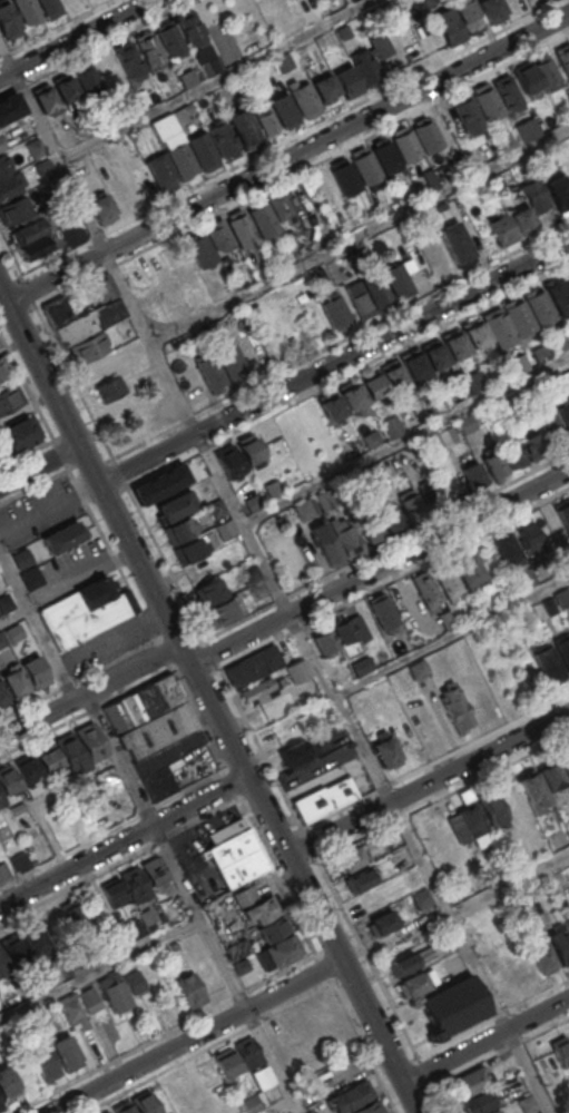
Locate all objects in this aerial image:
building: (351, 0)
building: (278, 2)
building: (49, 7)
building: (27, 10)
building: (491, 10)
building: (468, 16)
building: (8, 21)
building: (448, 26)
road: (56, 28)
building: (189, 28)
road: (75, 38)
building: (168, 38)
road: (91, 47)
building: (148, 48)
building: (563, 57)
building: (127, 58)
building: (206, 61)
building: (284, 62)
building: (366, 68)
building: (548, 72)
building: (527, 77)
building: (86, 78)
road: (212, 79)
building: (347, 81)
building: (238, 85)
building: (324, 86)
building: (65, 88)
building: (507, 92)
building: (45, 98)
building: (304, 99)
building: (487, 100)
building: (9, 107)
building: (567, 107)
building: (284, 108)
building: (468, 112)
building: (264, 118)
building: (242, 126)
building: (425, 134)
building: (222, 138)
building: (506, 140)
building: (405, 144)
building: (1, 146)
building: (36, 148)
building: (202, 149)
building: (385, 155)
building: (542, 156)
road: (287, 158)
building: (182, 159)
building: (4, 165)
building: (365, 165)
building: (161, 169)
building: (344, 175)
building: (11, 186)
building: (558, 191)
building: (534, 195)
building: (278, 205)
building: (440, 206)
building: (101, 208)
building: (13, 209)
building: (263, 219)
building: (521, 219)
building: (27, 229)
building: (242, 229)
building: (500, 229)
road: (360, 233)
building: (219, 237)
building: (454, 243)
building: (33, 247)
building: (202, 250)
building: (395, 278)
building: (102, 287)
building: (222, 287)
building: (376, 289)
building: (558, 296)
building: (360, 302)
building: (539, 307)
building: (334, 311)
building: (57, 312)
building: (259, 313)
building: (520, 317)
building: (88, 322)
building: (499, 327)
building: (474, 333)
building: (558, 341)
building: (455, 344)
building: (88, 348)
building: (435, 353)
building: (540, 353)
building: (521, 361)
building: (232, 362)
road: (334, 363)
building: (414, 364)
building: (3, 368)
building: (499, 371)
building: (212, 372)
building: (394, 375)
building: (556, 380)
building: (475, 381)
building: (192, 384)
building: (374, 386)
building: (110, 388)
building: (9, 398)
building: (354, 401)
building: (334, 411)
building: (565, 412)
building: (167, 413)
building: (465, 423)
building: (392, 425)
building: (551, 427)
building: (21, 434)
building: (447, 434)
building: (371, 439)
road: (405, 439)
building: (533, 446)
building: (252, 451)
building: (512, 454)
building: (229, 462)
road: (39, 465)
building: (492, 465)
building: (472, 474)
building: (159, 484)
building: (452, 484)
building: (272, 487)
building: (433, 494)
building: (252, 502)
building: (411, 504)
building: (175, 505)
building: (216, 508)
building: (563, 513)
building: (391, 516)
building: (371, 528)
building: (226, 529)
building: (179, 530)
building: (61, 536)
building: (527, 538)
building: (349, 542)
building: (328, 548)
building: (506, 548)
building: (190, 549)
building: (21, 558)
building: (467, 568)
building: (251, 574)
road: (382, 575)
building: (31, 577)
building: (445, 579)
road: (79, 580)
road: (273, 581)
building: (428, 589)
building: (209, 592)
building: (562, 598)
building: (6, 601)
building: (549, 605)
building: (383, 610)
building: (223, 611)
road: (12, 612)
building: (86, 612)
building: (447, 619)
road: (36, 627)
building: (501, 629)
building: (344, 630)
road: (450, 633)
building: (1, 640)
building: (324, 640)
building: (563, 649)
building: (549, 663)
building: (253, 667)
building: (300, 669)
building: (419, 669)
building: (36, 672)
building: (340, 672)
road: (151, 677)
building: (16, 682)
road: (89, 688)
building: (257, 690)
building: (2, 696)
road: (208, 701)
building: (357, 701)
building: (141, 703)
building: (457, 707)
building: (337, 736)
building: (90, 741)
building: (159, 746)
building: (383, 748)
building: (294, 751)
building: (69, 752)
building: (48, 760)
building: (565, 766)
building: (29, 769)
building: (108, 777)
building: (551, 777)
building: (8, 780)
road: (428, 782)
building: (533, 792)
building: (43, 796)
building: (91, 797)
building: (325, 799)
building: (1, 800)
building: (490, 808)
building: (16, 809)
building: (471, 820)
building: (568, 829)
road: (122, 840)
building: (236, 858)
building: (349, 858)
building: (19, 861)
road: (118, 861)
building: (3, 870)
building: (154, 870)
building: (359, 881)
building: (134, 884)
road: (509, 884)
building: (114, 894)
building: (245, 896)
building: (420, 898)
road: (190, 902)
building: (371, 902)
building: (261, 910)
building: (72, 914)
building: (382, 923)
building: (568, 927)
building: (133, 928)
building: (272, 929)
building: (35, 939)
building: (442, 939)
building: (560, 945)
building: (173, 946)
building: (16, 951)
building: (281, 951)
building: (90, 954)
building: (542, 959)
building: (73, 963)
building: (3, 965)
building: (402, 965)
building: (241, 966)
road: (99, 969)
building: (134, 981)
building: (412, 984)
building: (29, 987)
building: (189, 991)
building: (112, 992)
road: (242, 992)
building: (89, 999)
building: (450, 1006)
building: (73, 1011)
road: (195, 1035)
road: (485, 1040)
building: (560, 1050)
building: (66, 1052)
building: (247, 1052)
building: (43, 1062)
building: (226, 1062)
building: (7, 1083)
building: (468, 1083)
building: (350, 1096)
building: (145, 1103)
building: (477, 1103)
building: (251, 1104)
building: (527, 1104)
road: (279, 1106)
building: (0, 1107)
building: (369, 1107)
building: (124, 1109)
building: (496, 1111)
building: (107, 1112)

